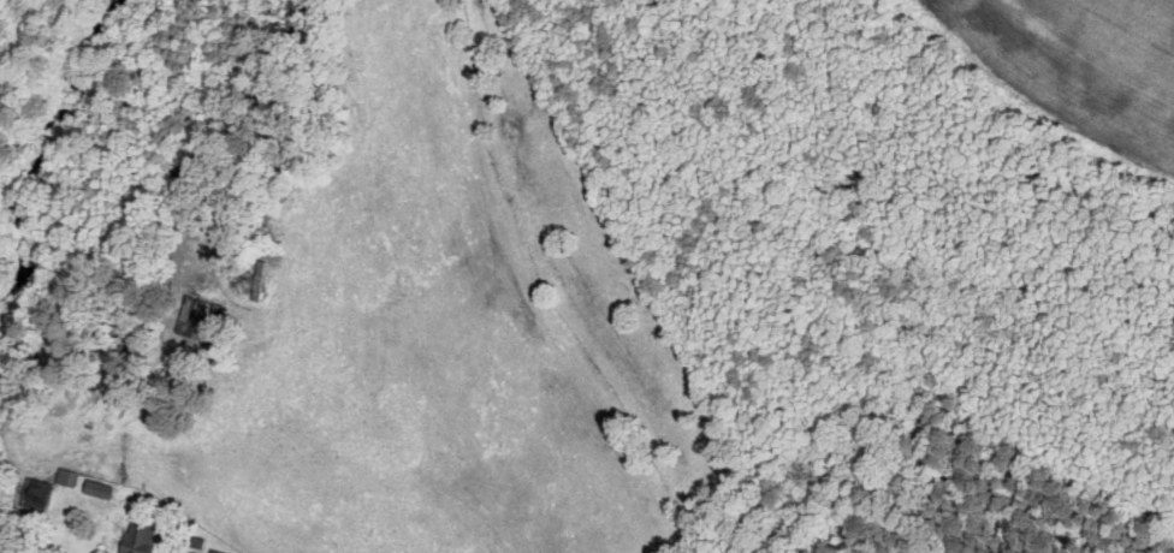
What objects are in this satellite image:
building: (200, 328)
building: (72, 478)
building: (105, 490)
building: (146, 539)
building: (197, 552)
building: (220, 552)

